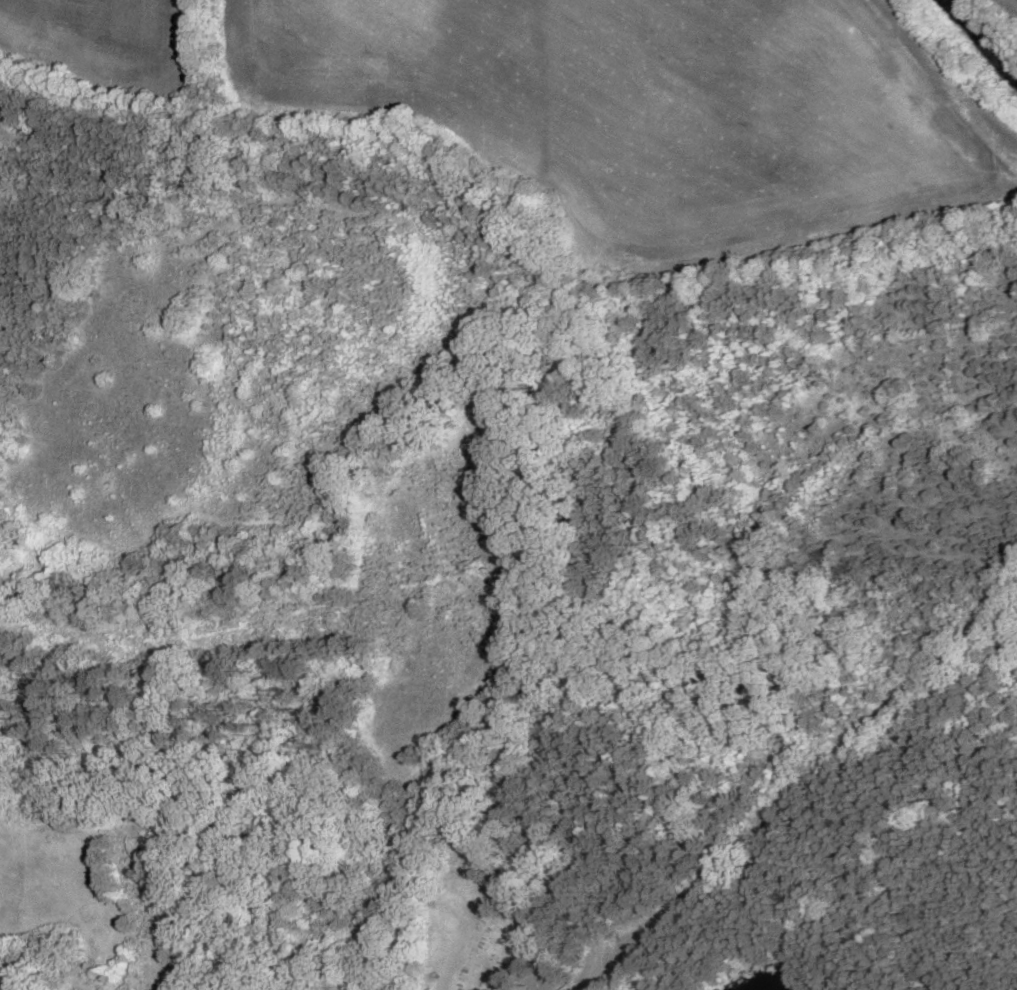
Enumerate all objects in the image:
road: (613, 981)

